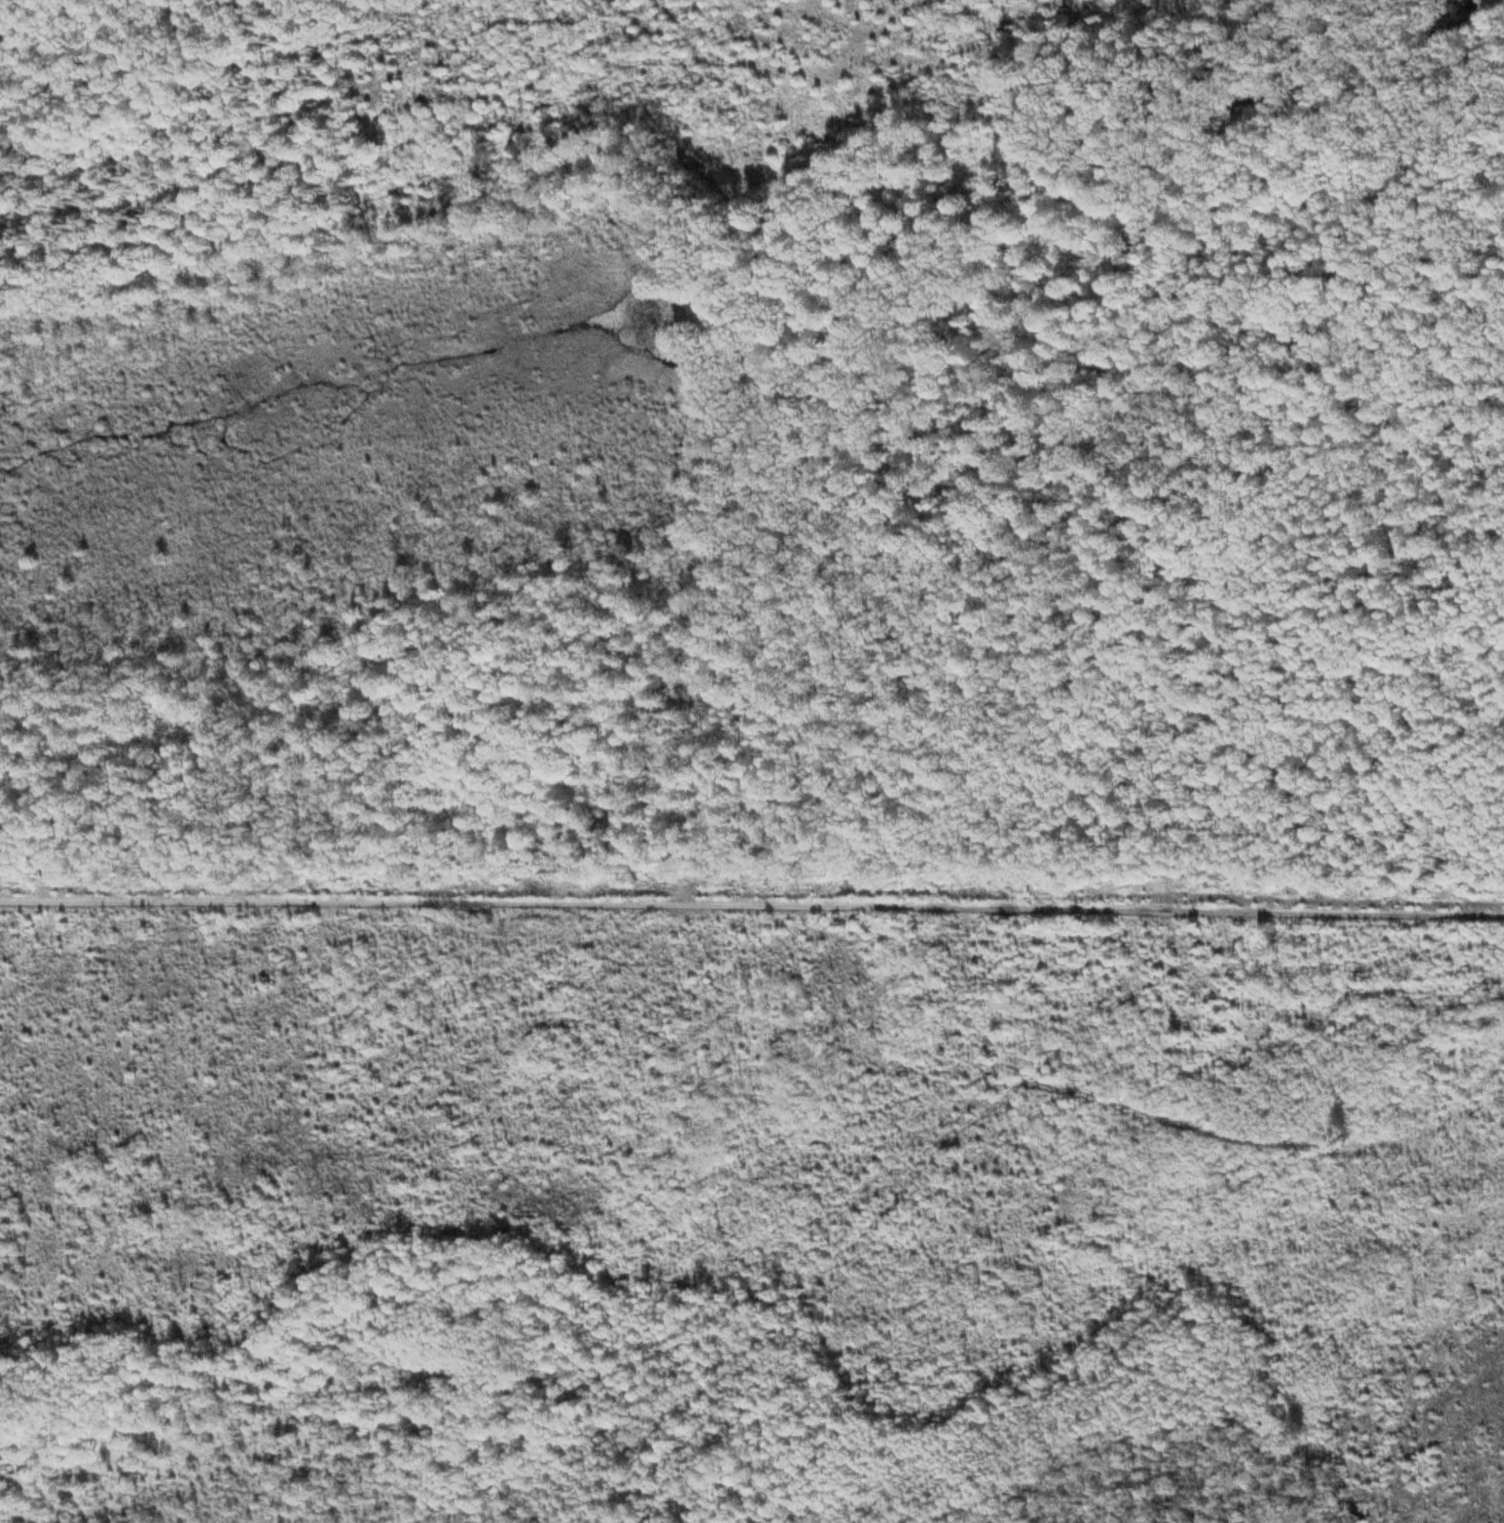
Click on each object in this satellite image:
road: (550, 903)
road: (1302, 903)

